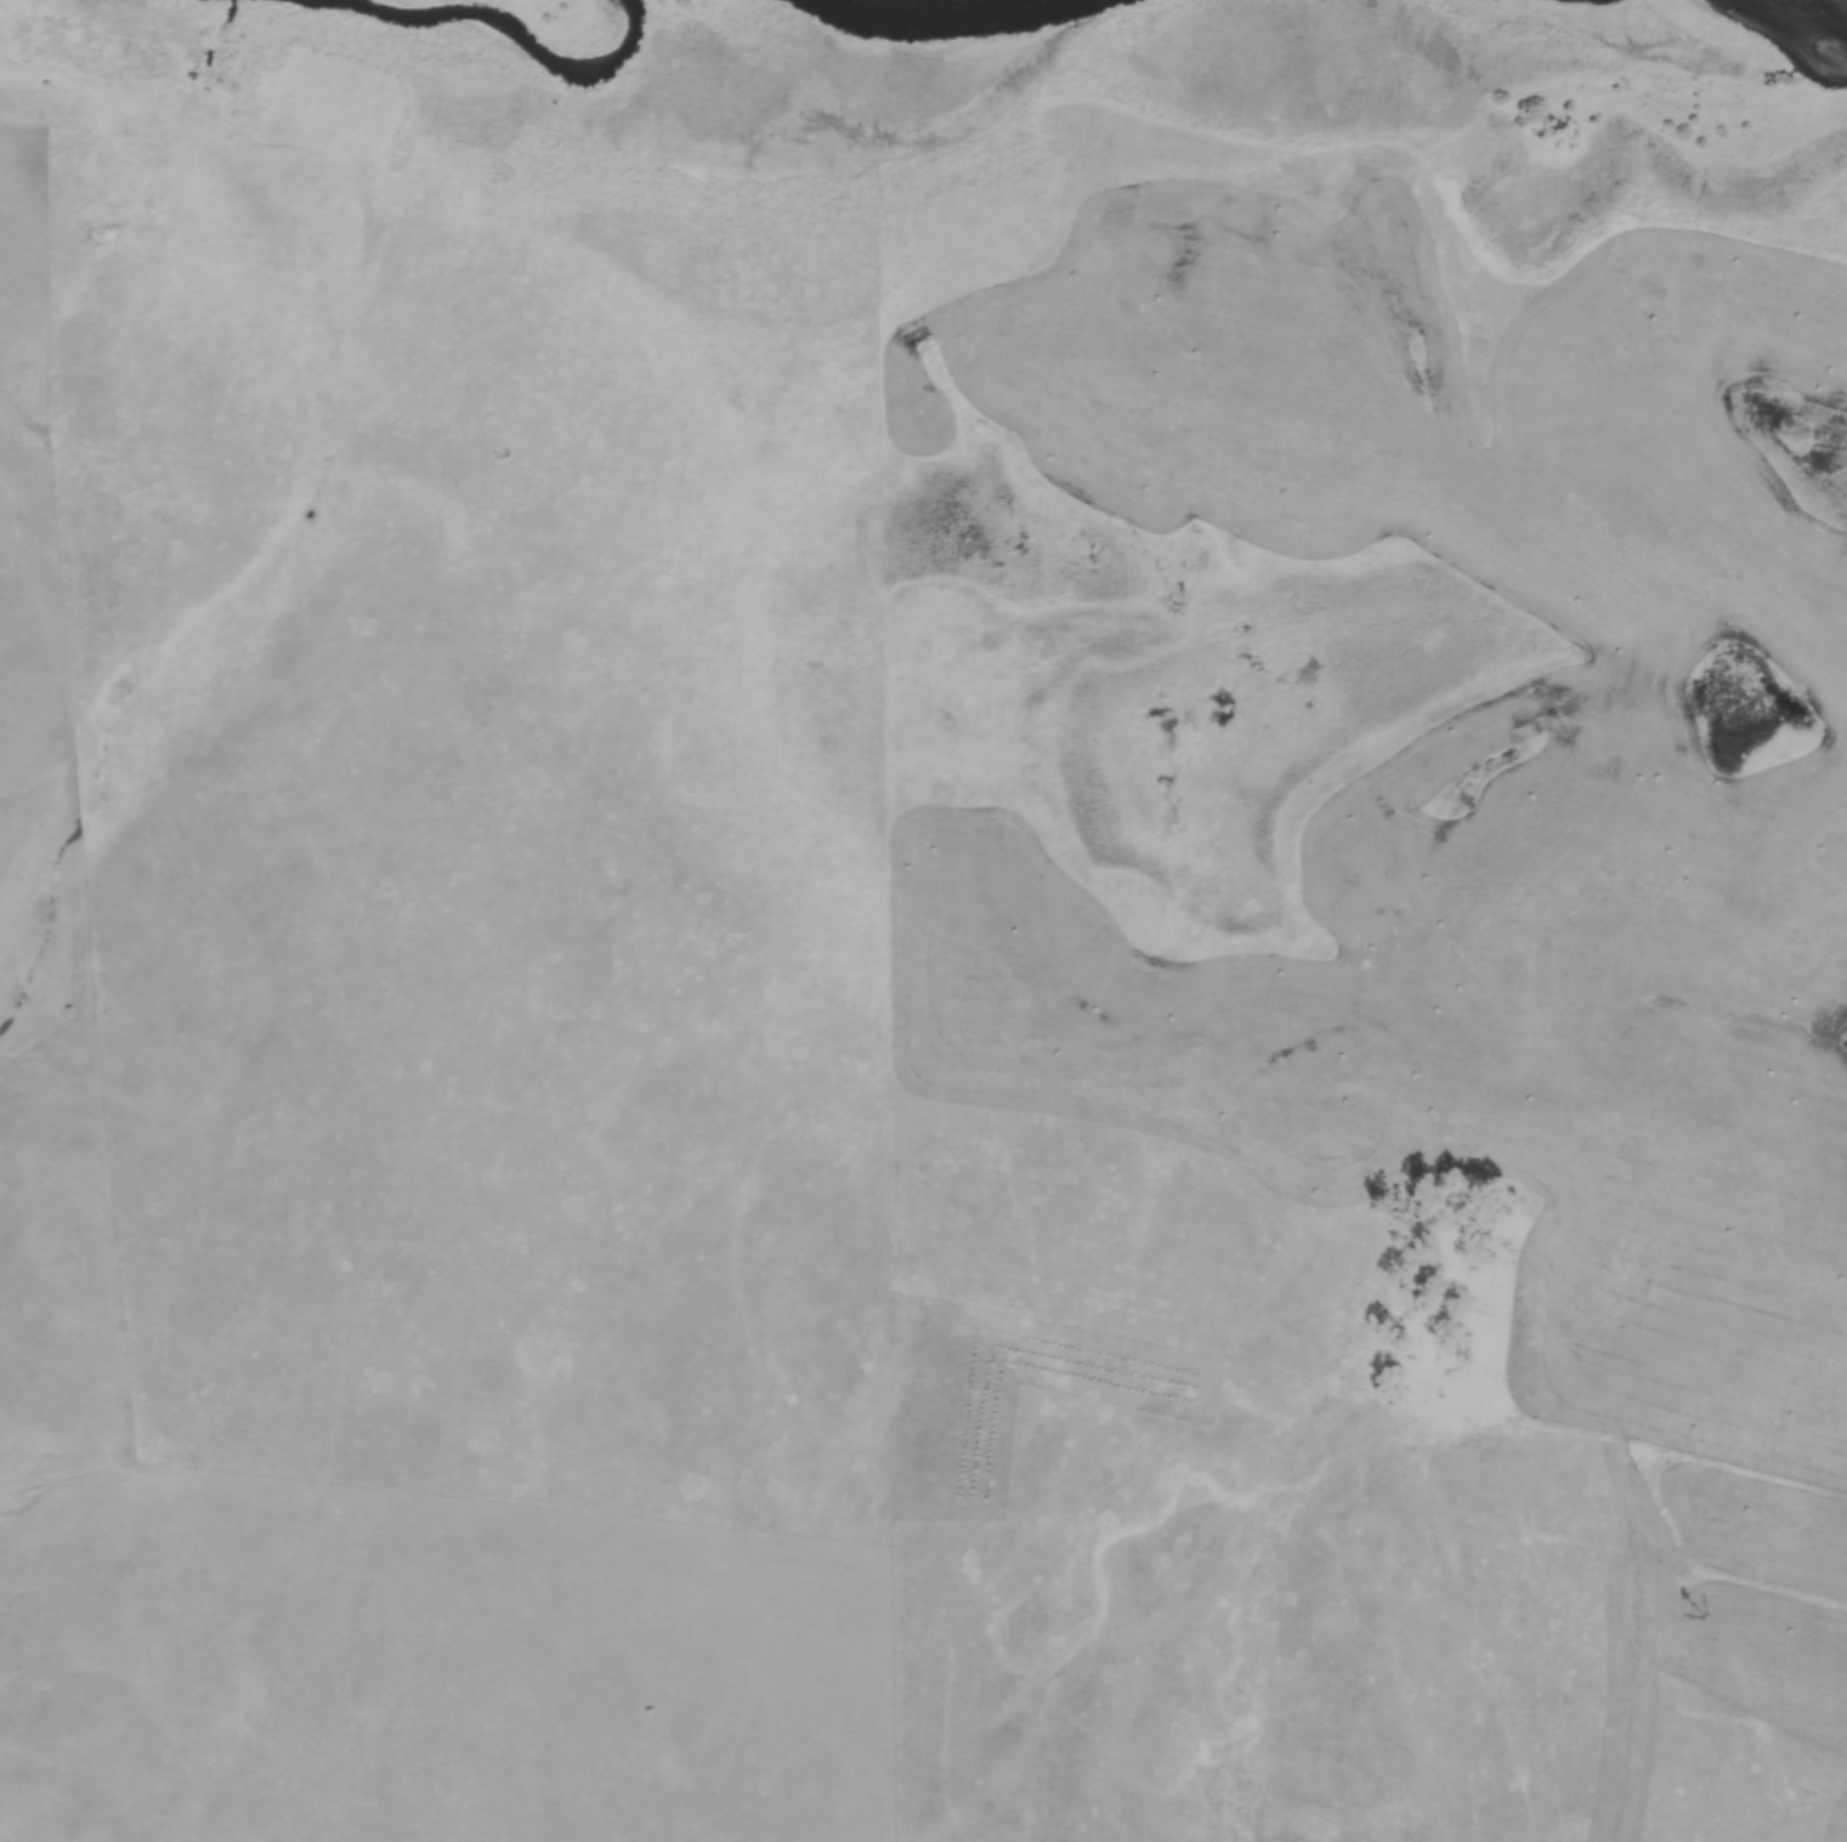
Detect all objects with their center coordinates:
building: (1549, 862)
building: (1449, 911)

